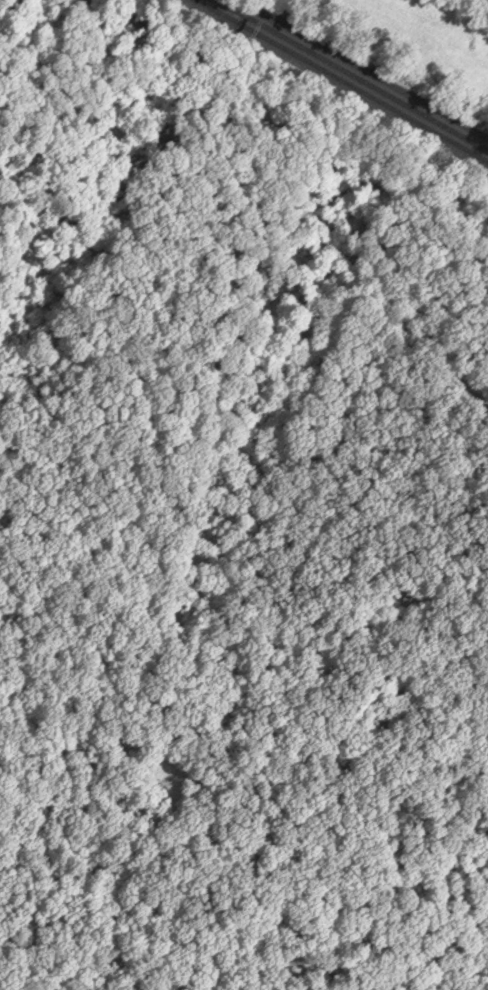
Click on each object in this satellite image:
road: (358, 73)
railway: (350, 75)
railway: (340, 81)

